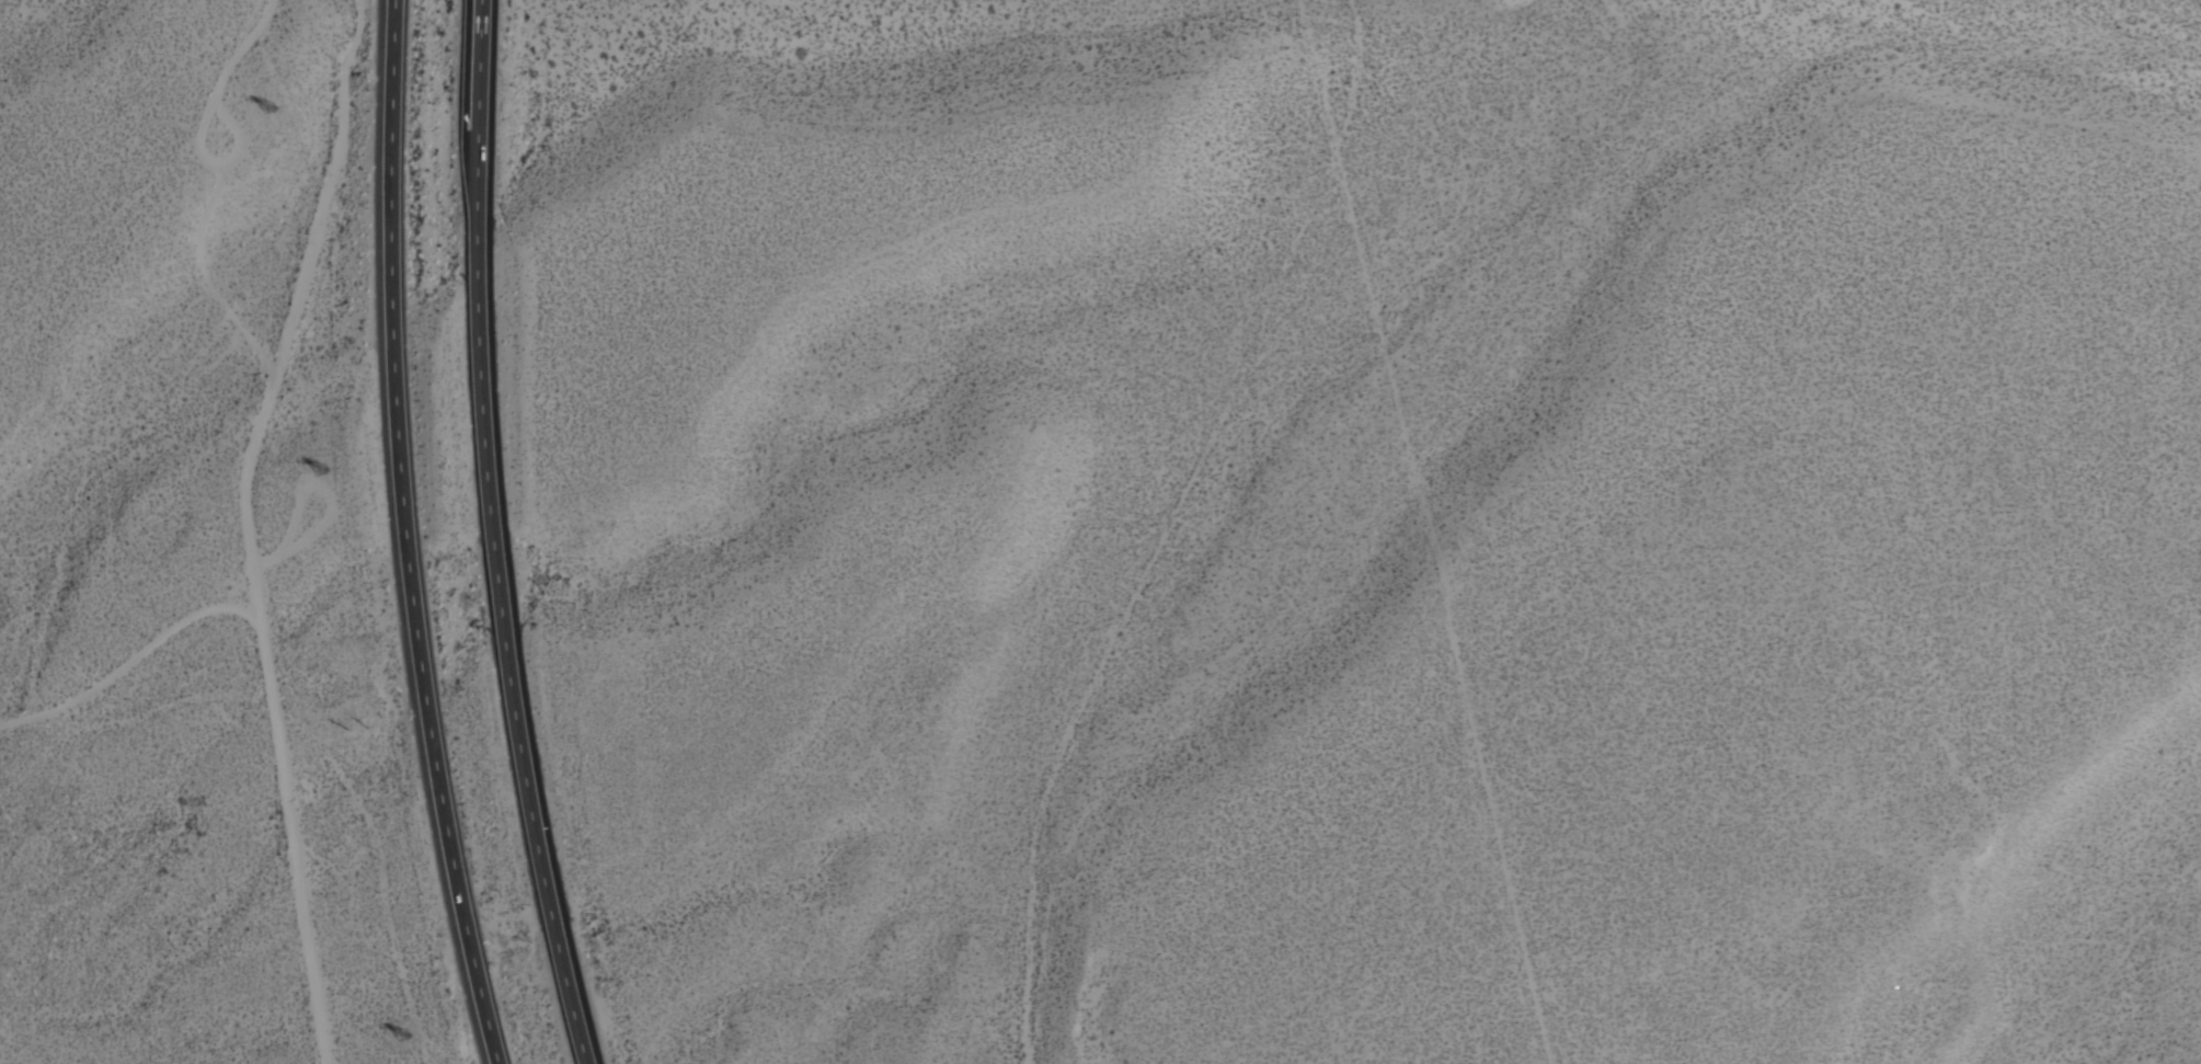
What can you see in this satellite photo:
road: (477, 49)
power tower: (252, 114)
power tower: (306, 477)
road: (236, 524)
road: (406, 536)
road: (500, 585)
road: (122, 661)
power tower: (394, 1039)

